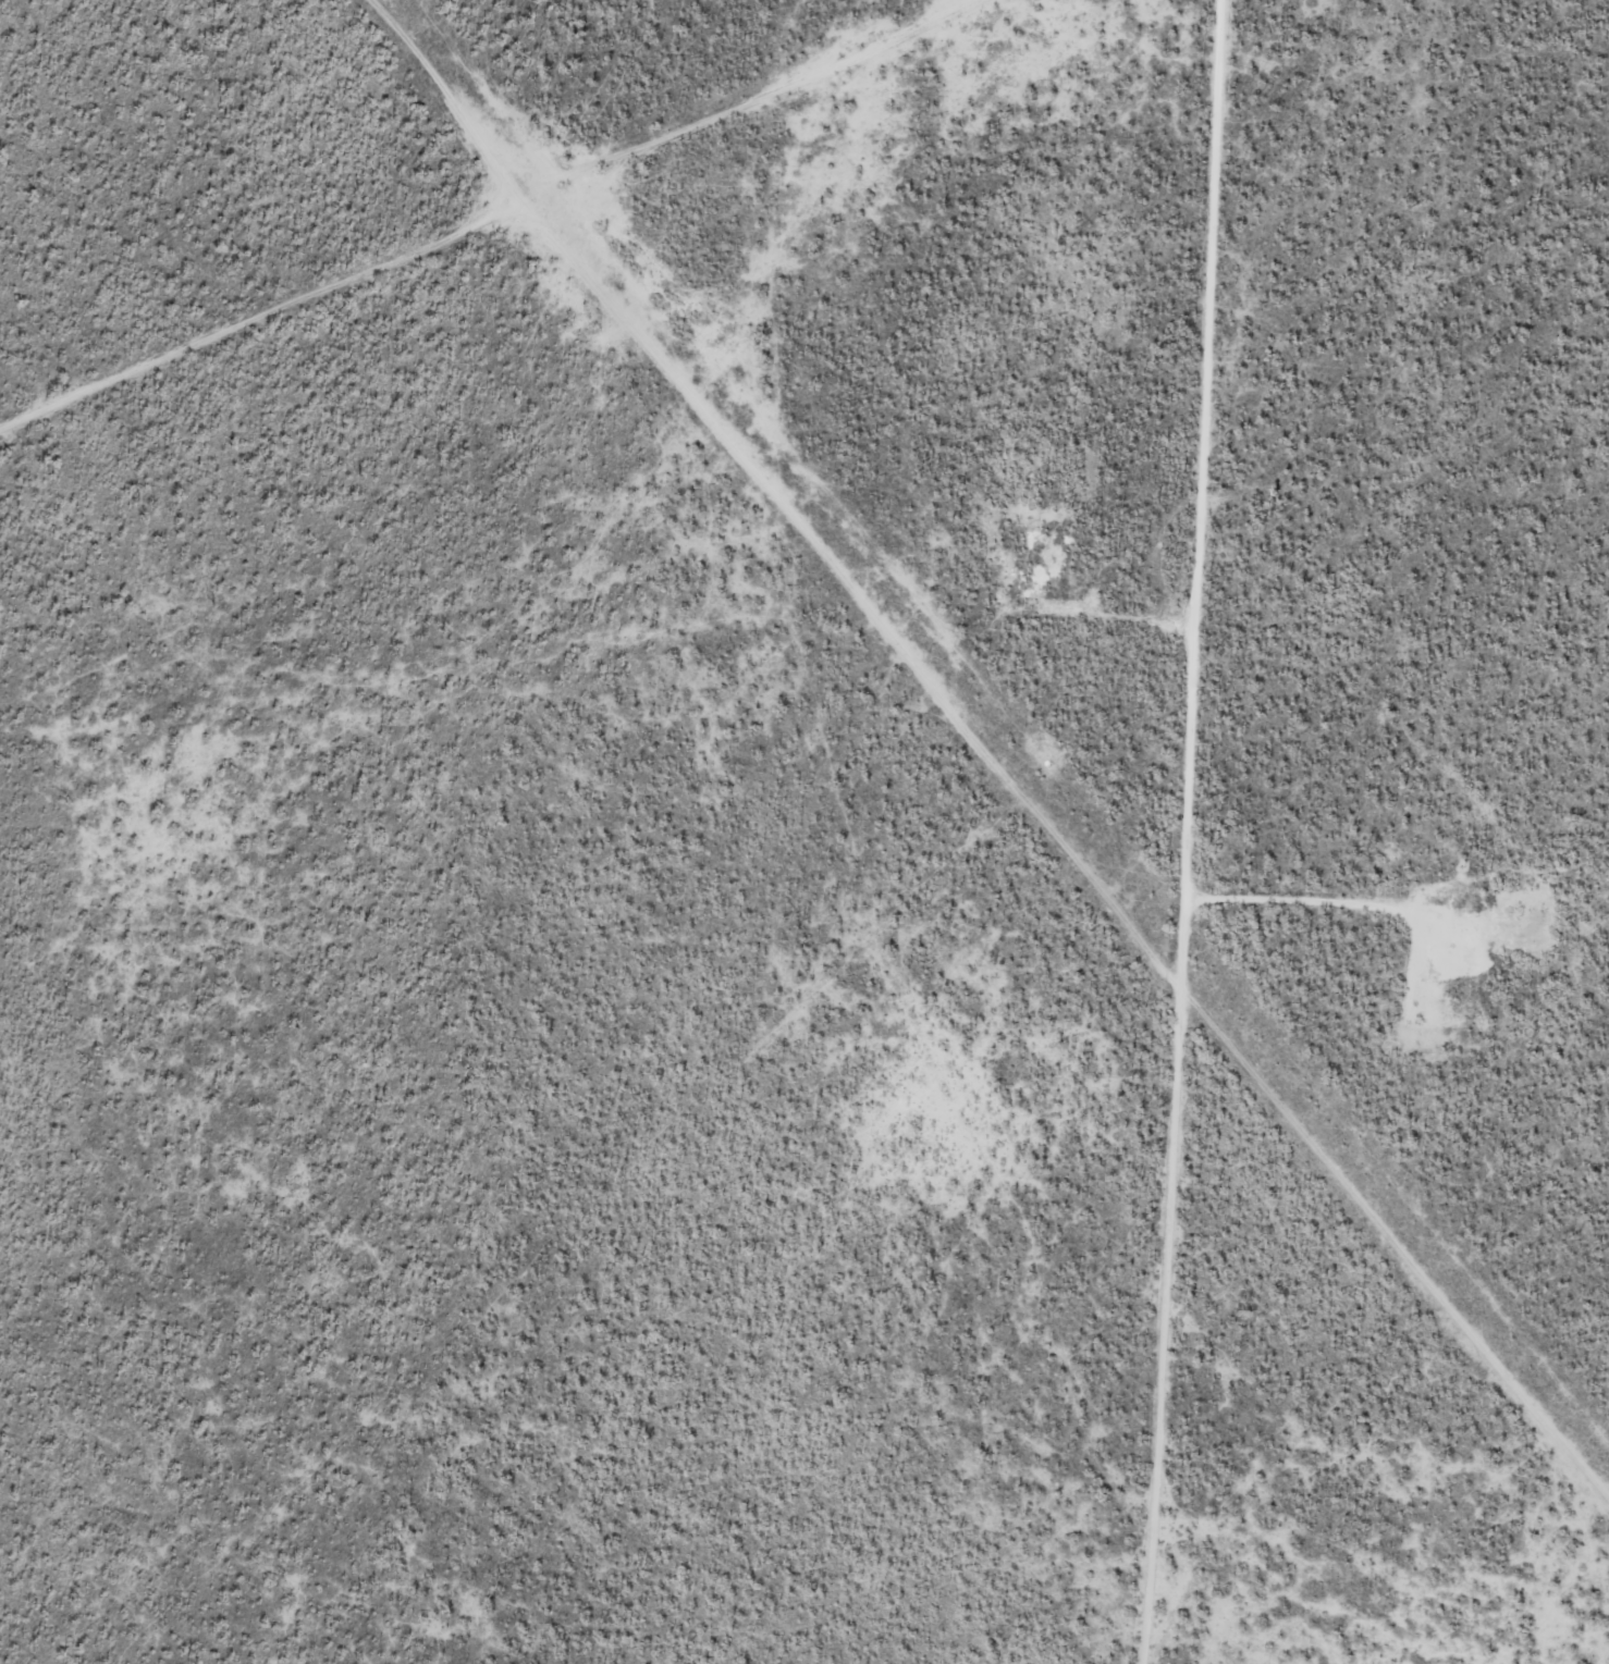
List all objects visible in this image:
road: (401, 257)
road: (647, 299)
road: (784, 717)
road: (1167, 834)

